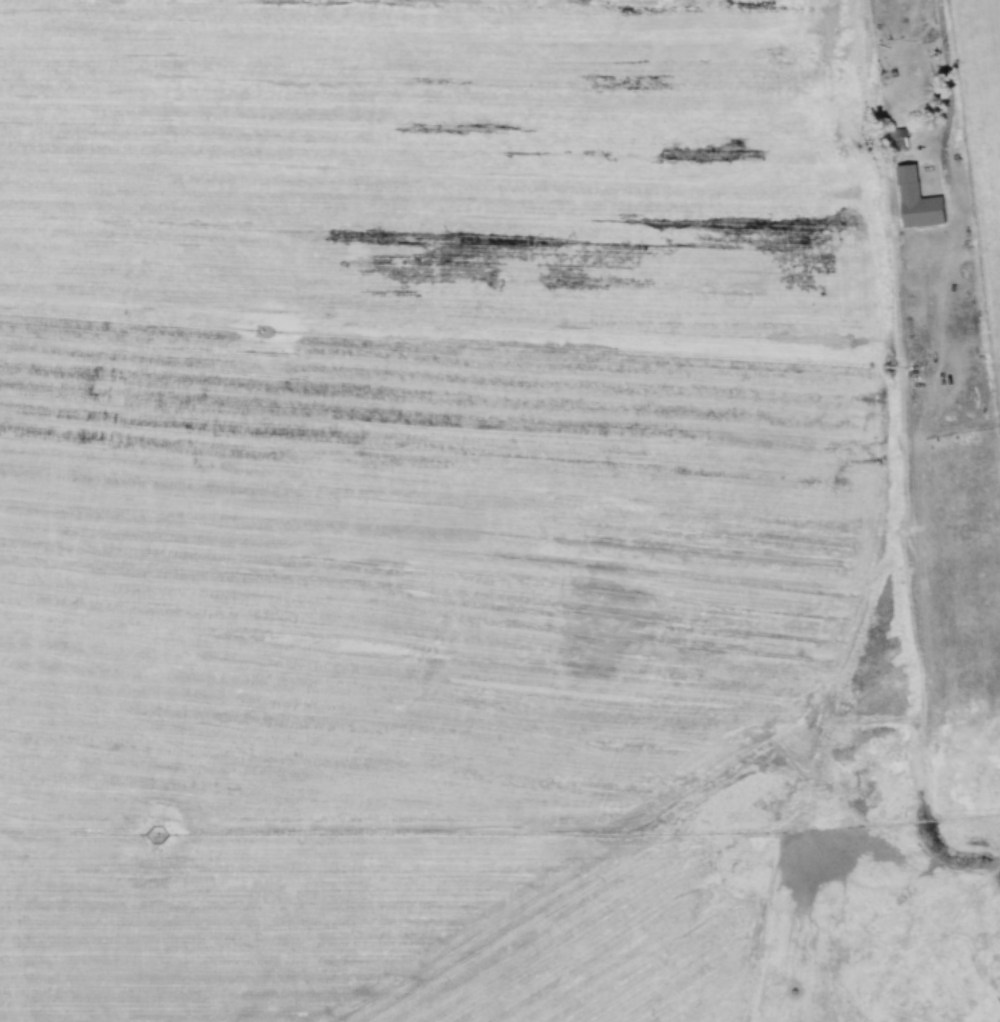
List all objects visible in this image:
building: (923, 196)

